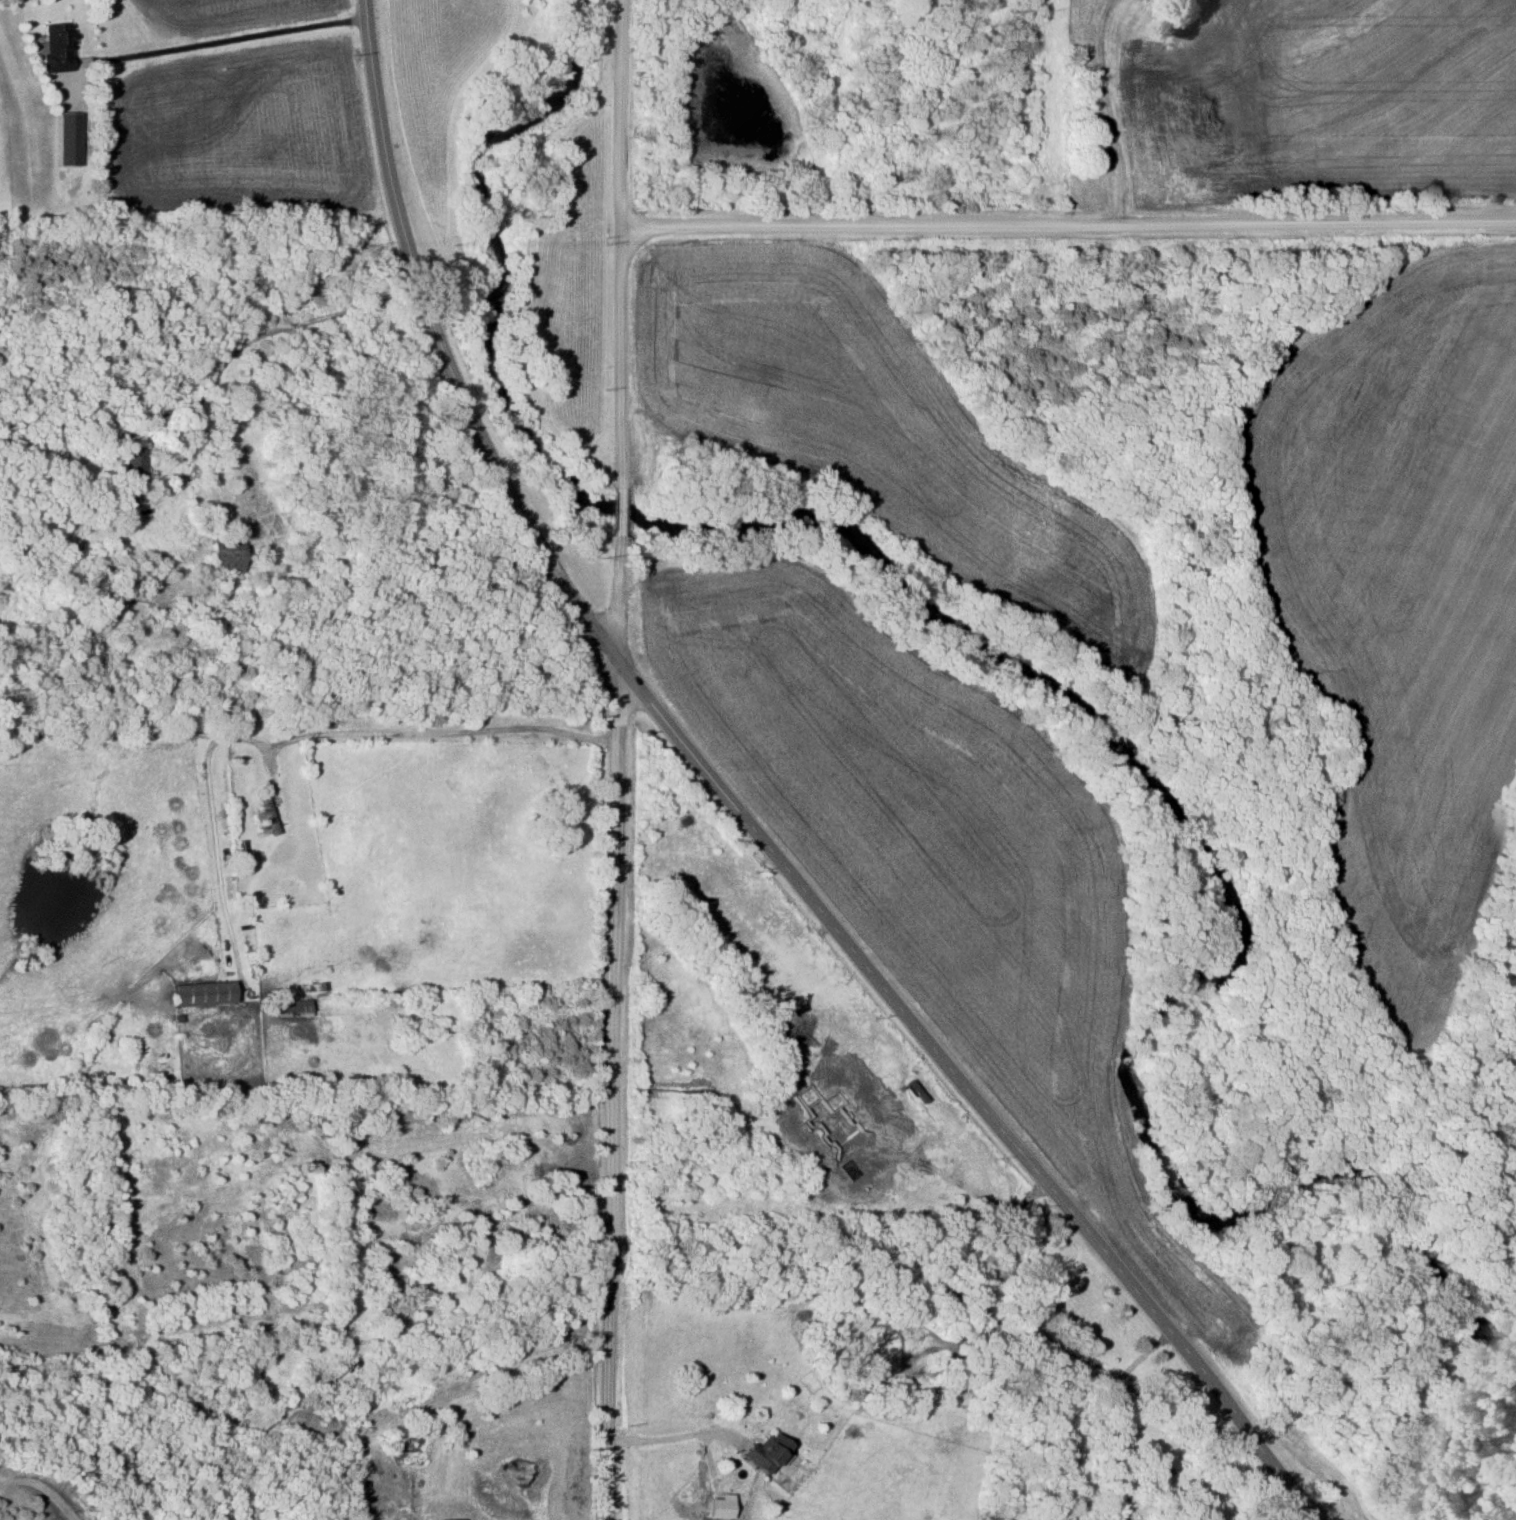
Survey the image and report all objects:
road: (222, 36)
building: (56, 47)
building: (1149, 78)
road: (614, 113)
building: (66, 139)
road: (1064, 223)
road: (233, 346)
road: (611, 356)
building: (130, 464)
road: (609, 512)
building: (217, 547)
road: (313, 731)
river: (1142, 783)
building: (262, 815)
road: (739, 818)
building: (205, 993)
building: (294, 1007)
road: (610, 1028)
road: (1114, 1411)
road: (669, 1434)
building: (762, 1452)

